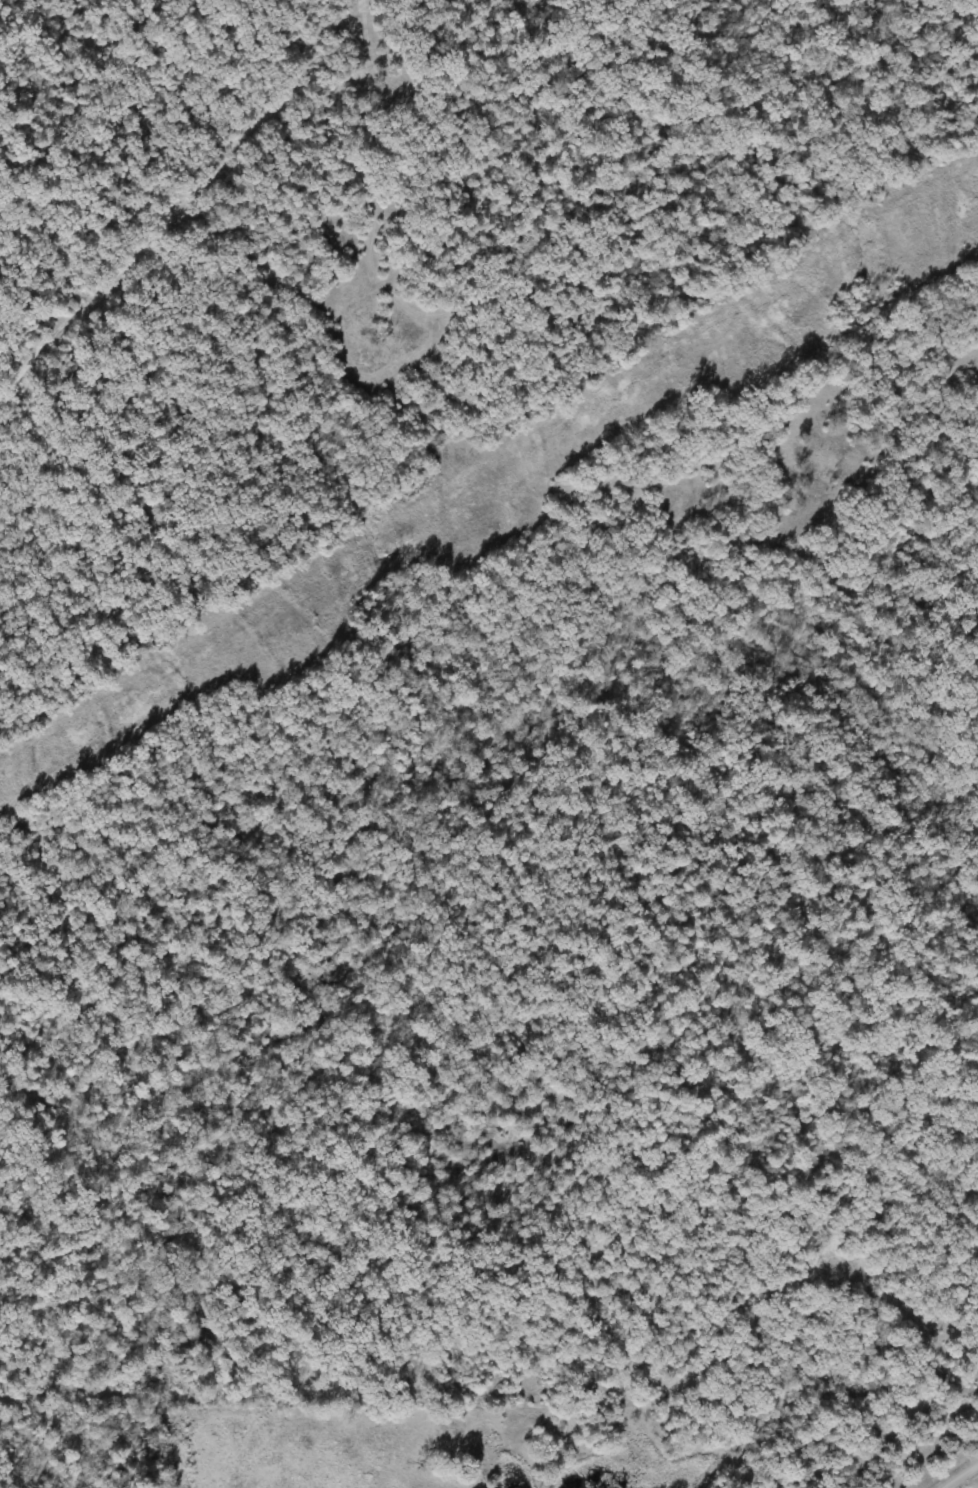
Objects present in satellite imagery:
road: (965, 1479)

